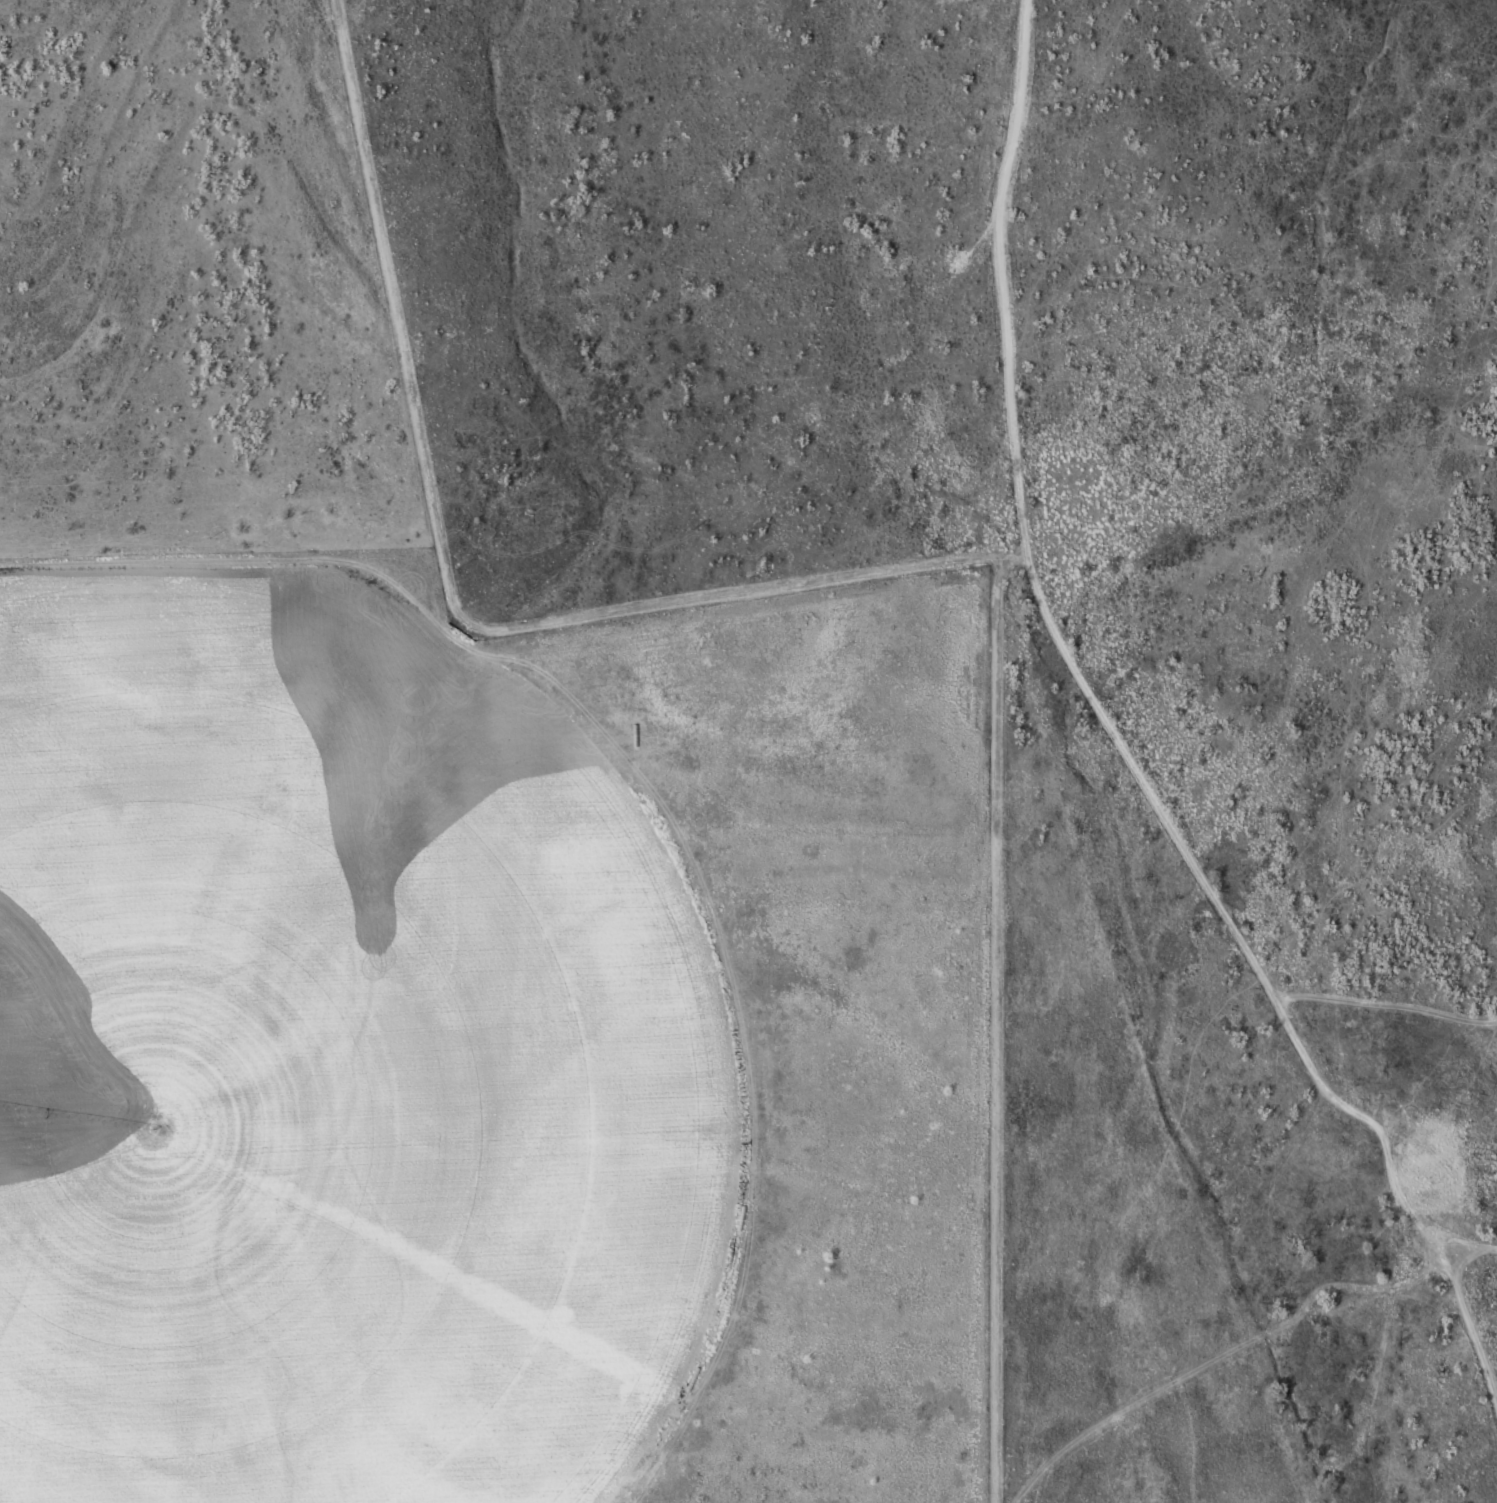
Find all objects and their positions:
road: (1079, 712)
building: (1422, 1182)
road: (1460, 1353)

